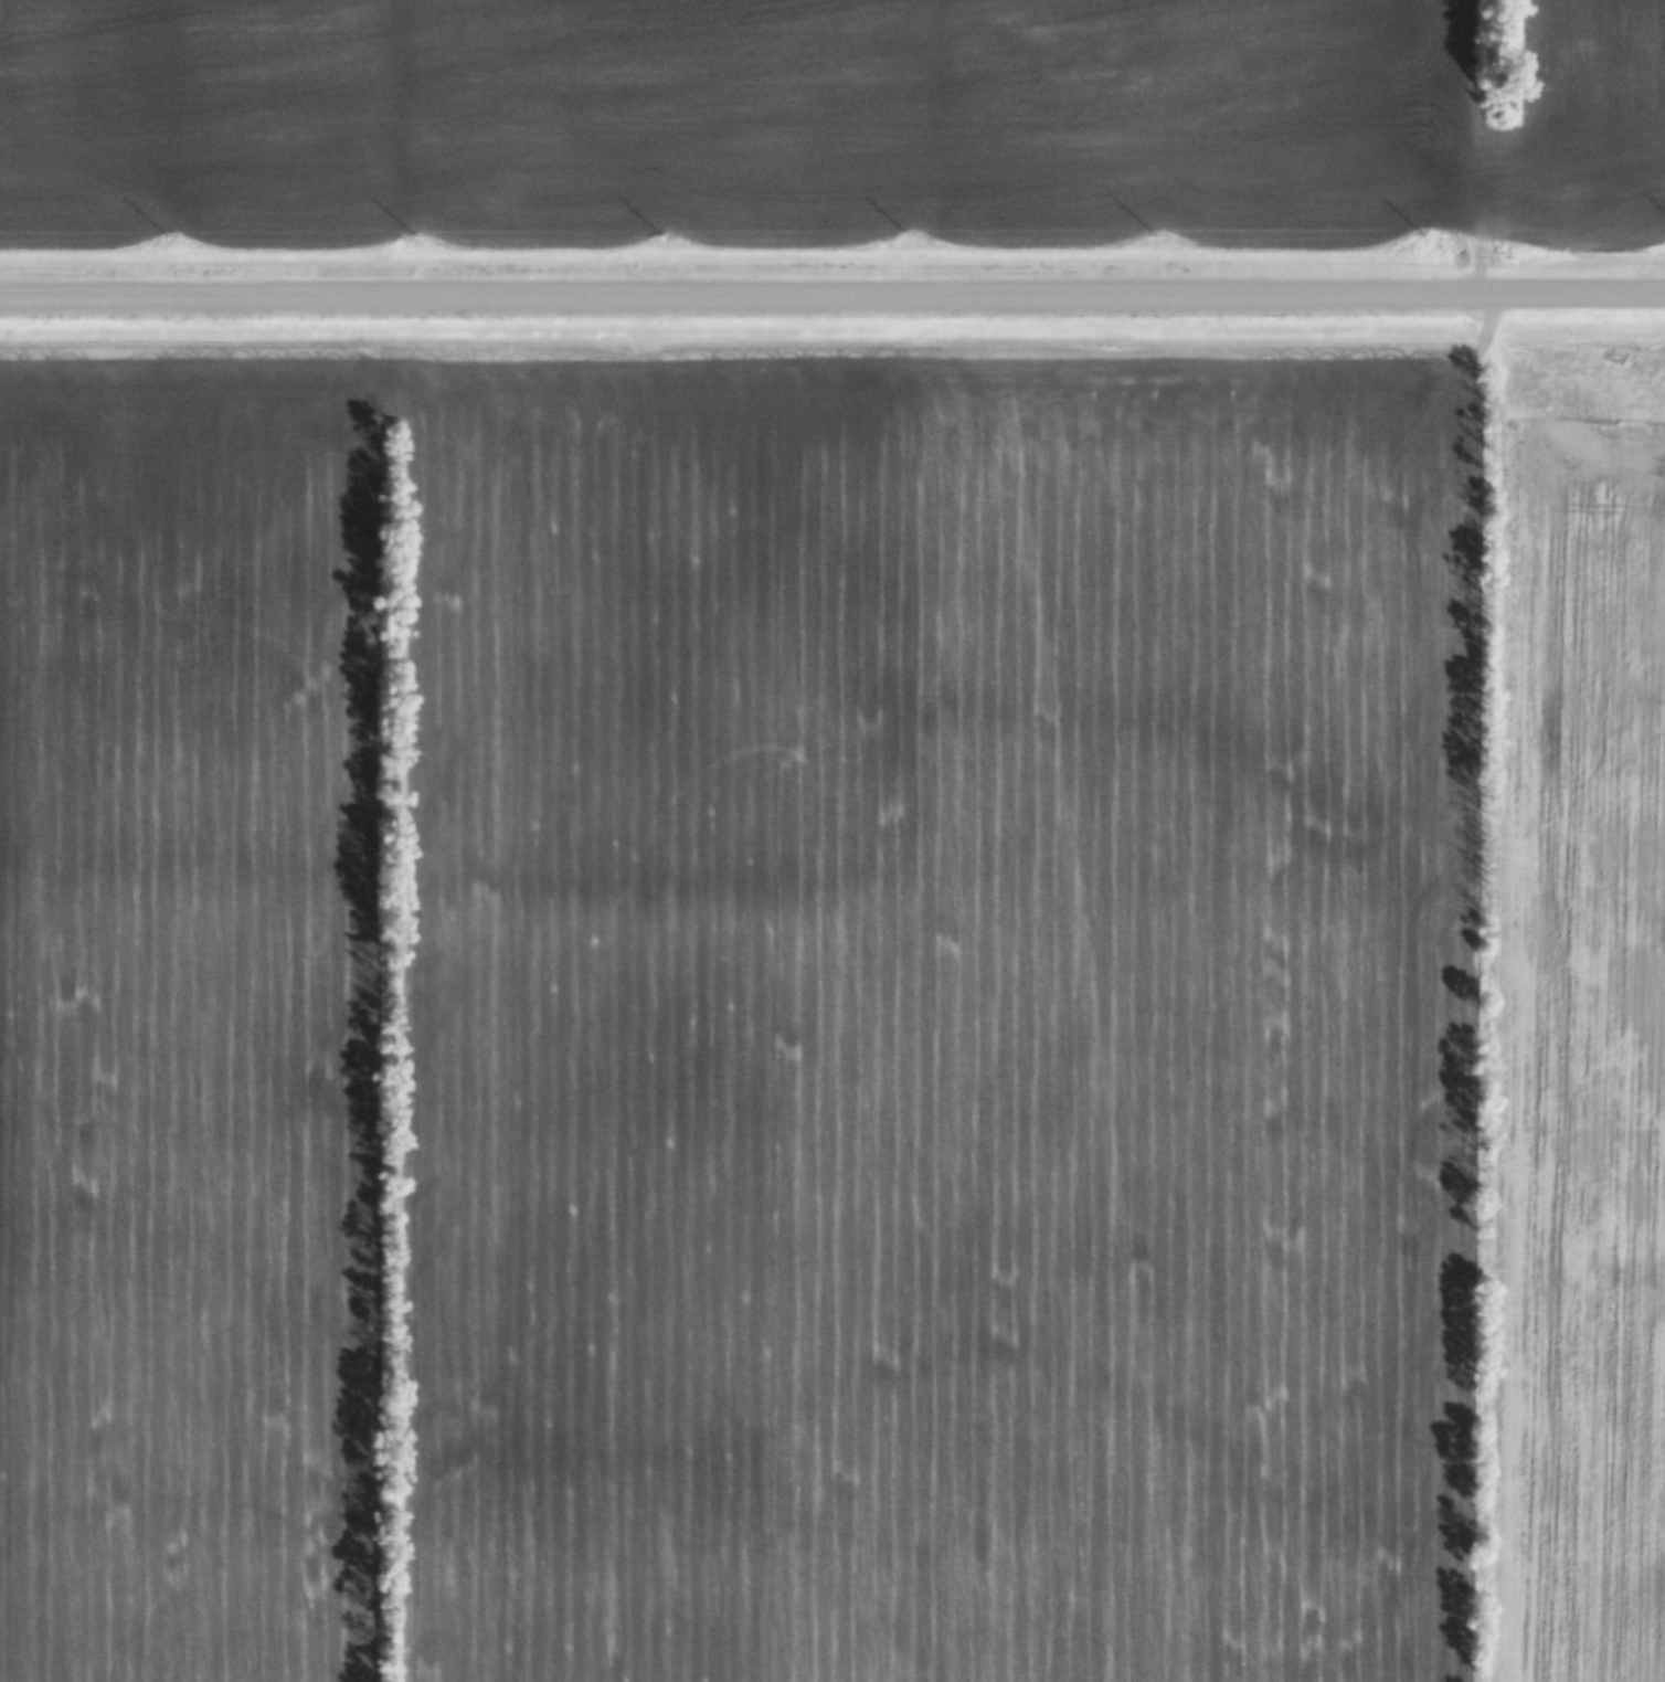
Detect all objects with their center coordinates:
road: (832, 295)

